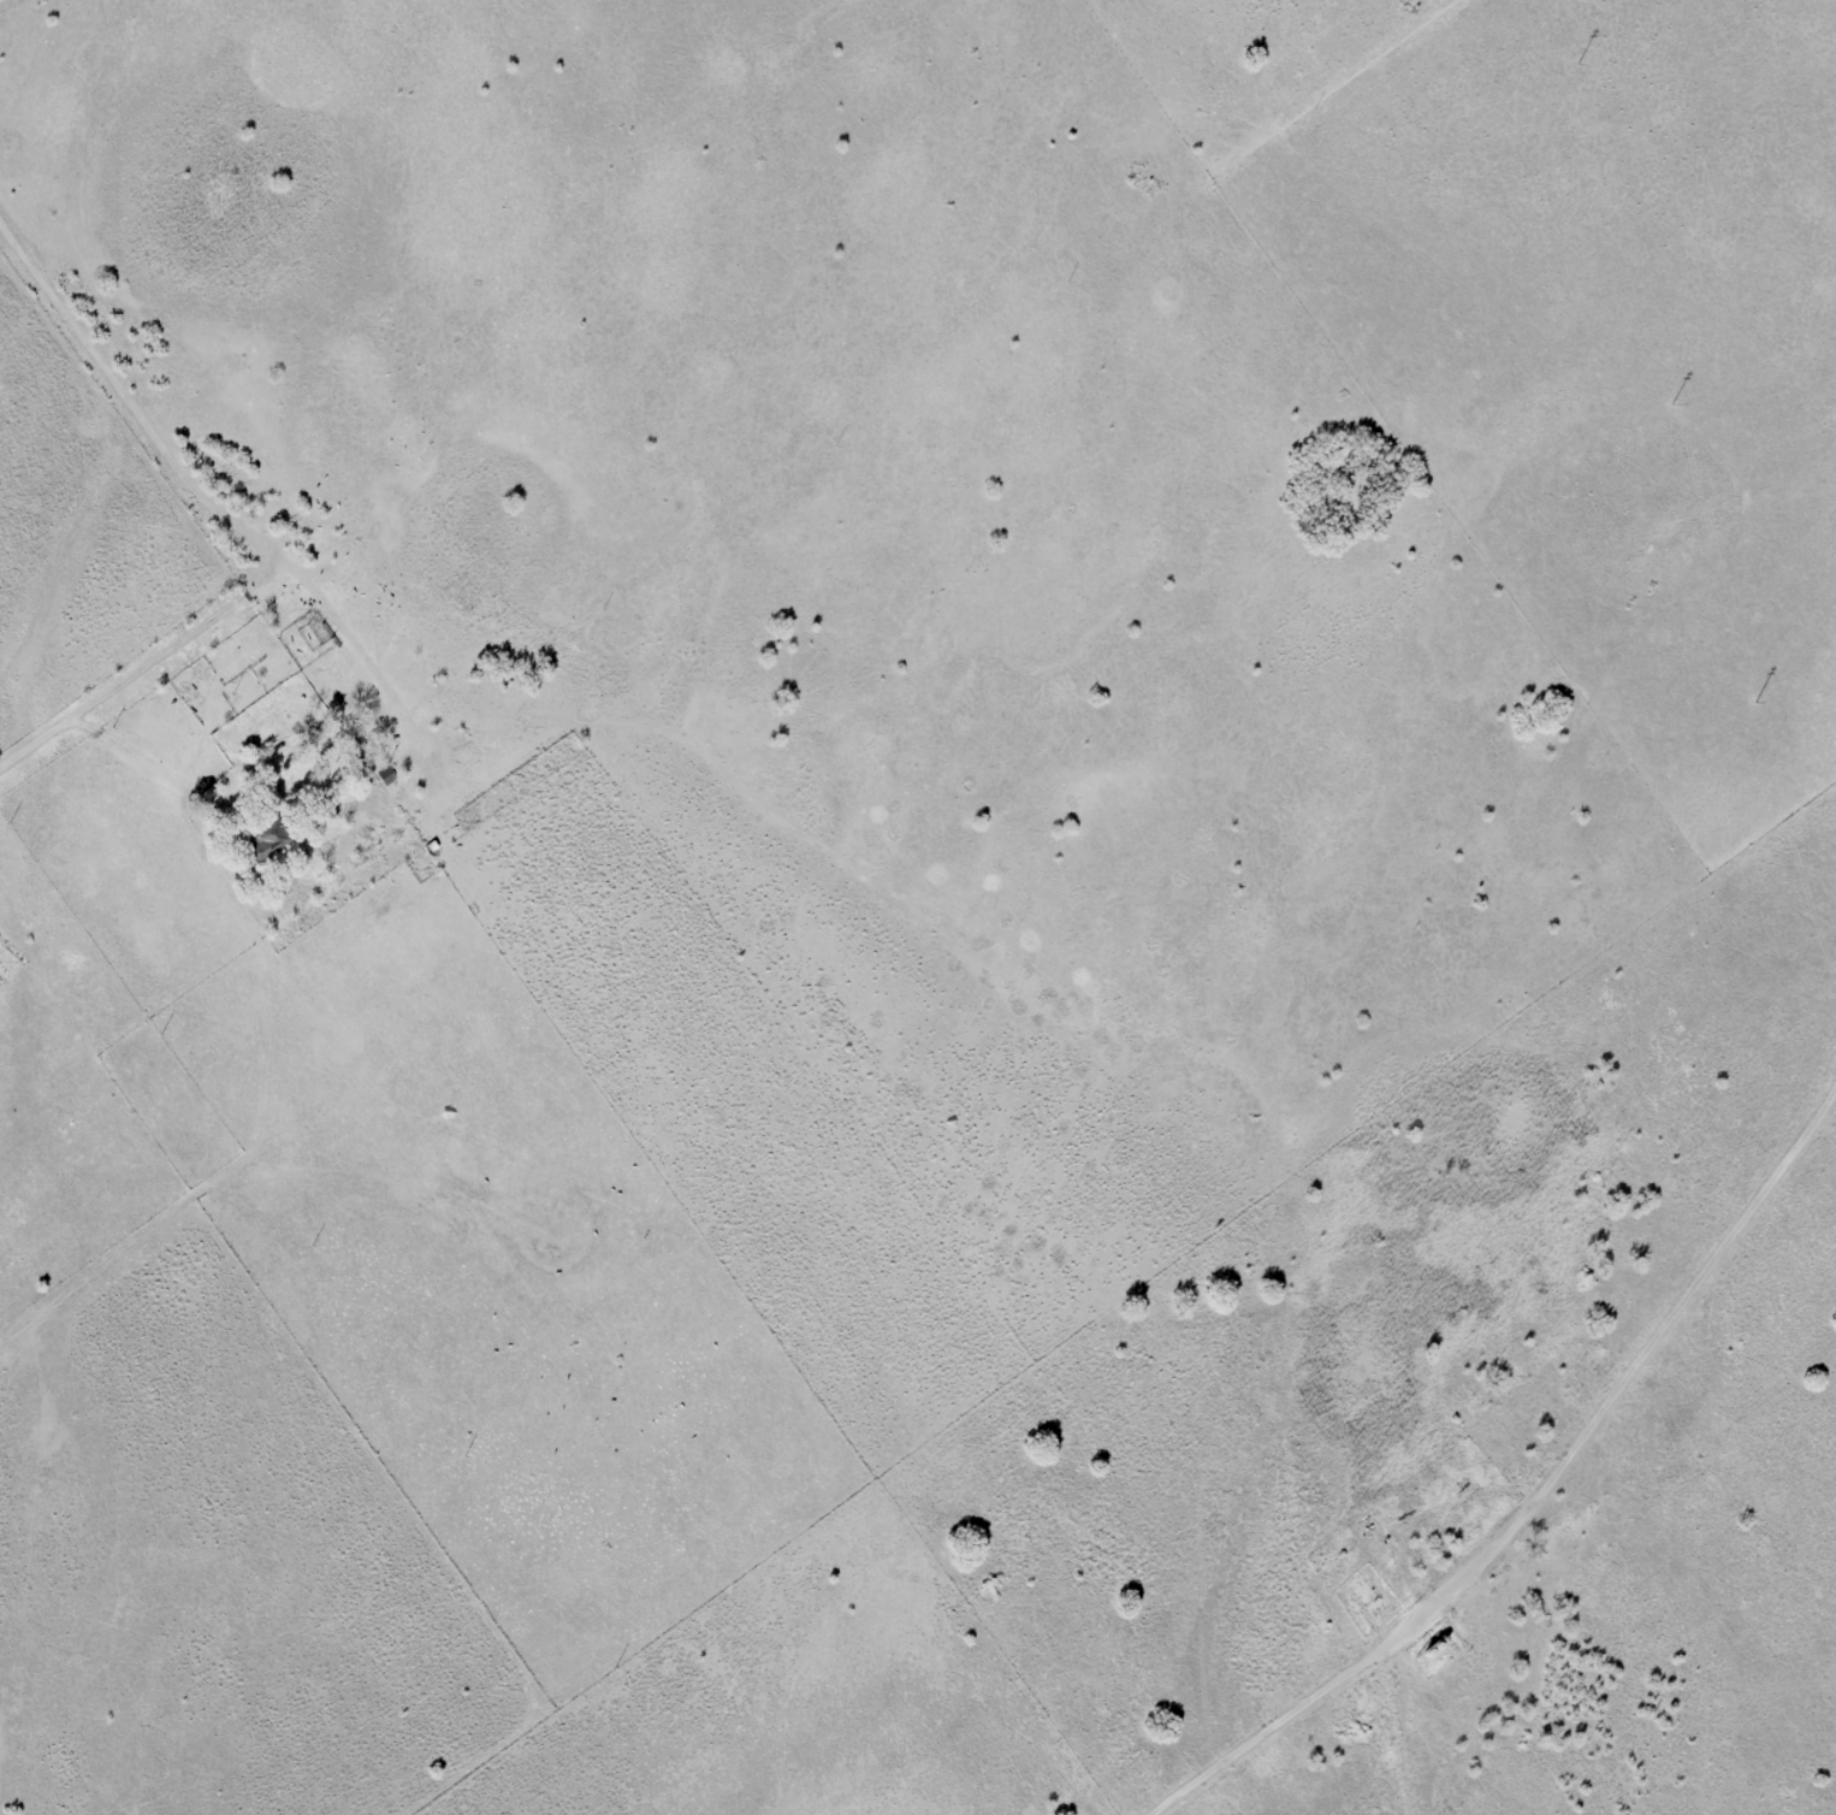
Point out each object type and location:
road: (1358, 1742)

